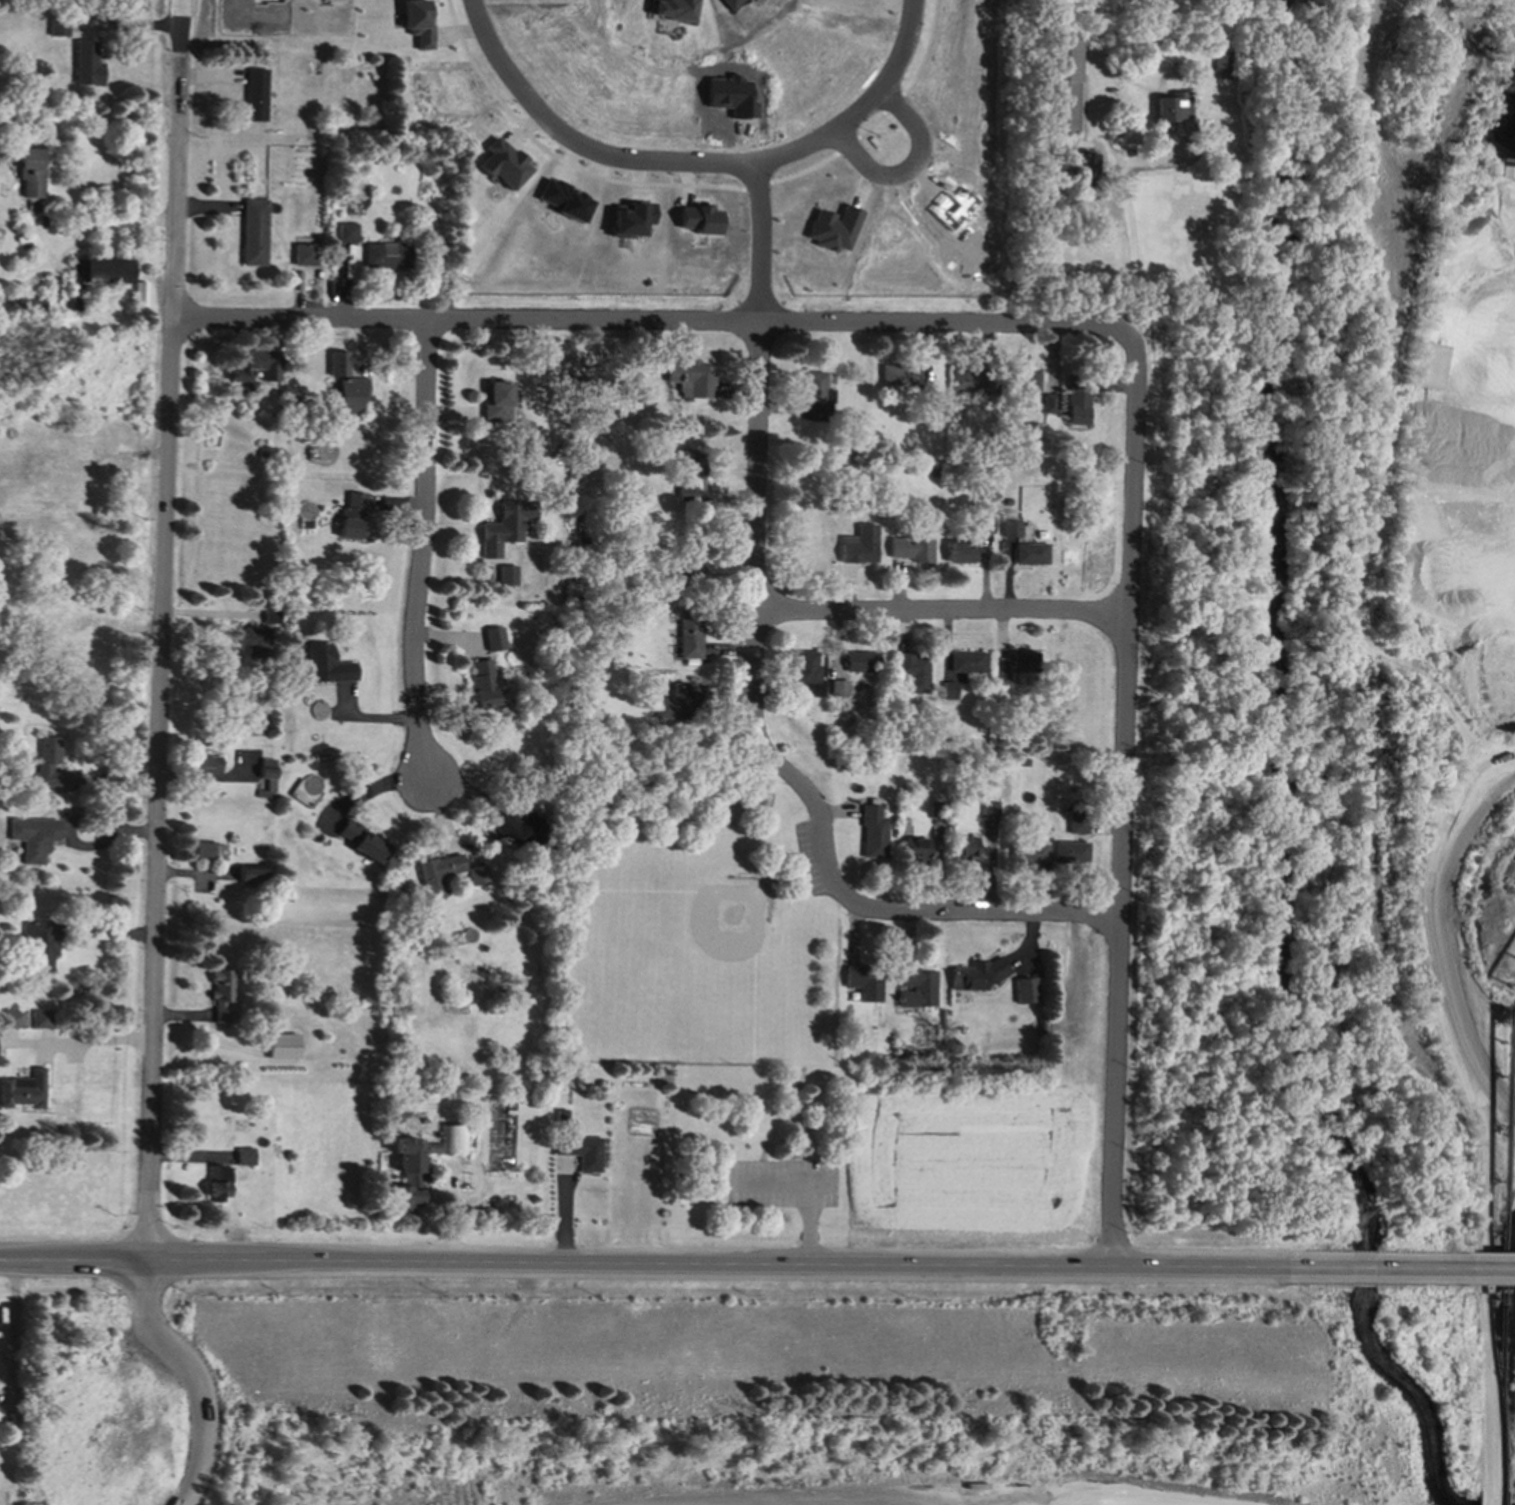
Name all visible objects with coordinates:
building: (730, 4)
building: (671, 10)
building: (417, 23)
building: (87, 65)
building: (1221, 65)
building: (1062, 85)
building: (255, 96)
building: (1172, 109)
building: (502, 164)
road: (689, 170)
building: (1083, 172)
building: (31, 173)
road: (903, 175)
road: (694, 186)
building: (562, 201)
road: (1126, 207)
building: (629, 219)
building: (697, 220)
road: (110, 224)
building: (832, 229)
building: (253, 233)
building: (346, 233)
road: (755, 246)
building: (303, 255)
building: (386, 256)
building: (100, 271)
building: (25, 304)
building: (72, 304)
road: (639, 323)
building: (336, 365)
building: (253, 366)
building: (895, 376)
building: (691, 378)
building: (967, 379)
building: (1029, 380)
building: (815, 390)
building: (347, 395)
building: (495, 402)
building: (1048, 404)
building: (1077, 405)
building: (688, 477)
building: (351, 517)
building: (982, 526)
building: (504, 528)
building: (1010, 530)
building: (858, 546)
building: (910, 549)
road: (421, 550)
building: (962, 553)
building: (1030, 555)
building: (683, 560)
building: (505, 576)
road: (942, 612)
building: (270, 618)
road: (162, 629)
building: (689, 634)
building: (493, 640)
building: (254, 643)
building: (860, 662)
building: (966, 663)
building: (325, 665)
building: (1015, 667)
building: (804, 668)
building: (912, 672)
building: (482, 685)
building: (837, 688)
quarry: (1337, 690)
building: (808, 691)
building: (947, 691)
building: (678, 704)
road: (773, 761)
building: (206, 765)
building: (47, 768)
building: (266, 770)
road: (1125, 788)
building: (990, 811)
building: (1077, 824)
building: (518, 830)
building: (873, 833)
building: (33, 838)
building: (362, 843)
building: (916, 849)
building: (964, 849)
building: (200, 850)
building: (1035, 853)
building: (1072, 854)
building: (251, 874)
building: (437, 875)
building: (477, 876)
building: (40, 946)
park: (711, 975)
building: (975, 975)
building: (864, 983)
building: (916, 988)
building: (1025, 991)
building: (221, 995)
building: (14, 1019)
building: (42, 1019)
road: (94, 1043)
building: (282, 1047)
building: (23, 1091)
building: (581, 1152)
building: (244, 1157)
crop: (975, 1164)
building: (406, 1176)
building: (217, 1184)
road: (810, 1189)
road: (644, 1262)
road: (1402, 1264)
road: (144, 1288)
road: (14, 1332)
quarry: (752, 1389)
road: (201, 1404)

